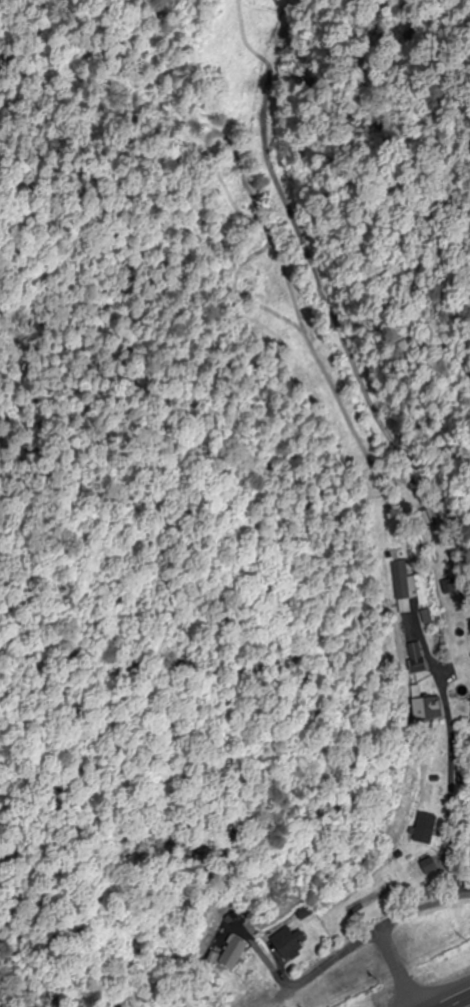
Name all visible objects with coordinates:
building: (398, 576)
building: (424, 600)
building: (431, 711)
building: (428, 829)
building: (423, 869)
building: (290, 944)
building: (237, 954)
road: (401, 968)
road: (466, 1005)

